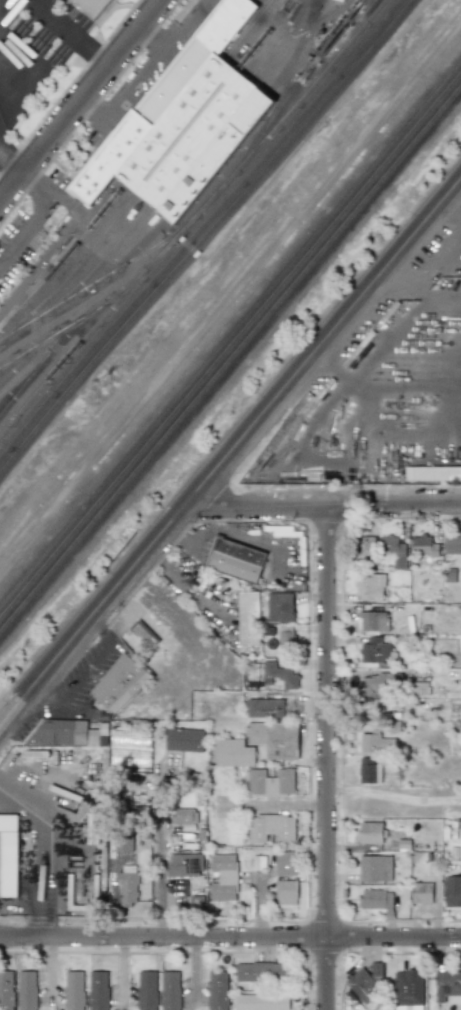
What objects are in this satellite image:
building: (341, 0)
building: (95, 6)
railway: (311, 7)
road: (8, 9)
railway: (247, 29)
railway: (263, 34)
road: (66, 35)
railway: (279, 40)
railway: (295, 49)
road: (19, 63)
railway: (294, 82)
road: (82, 102)
railway: (174, 120)
building: (182, 121)
railway: (186, 130)
railway: (199, 140)
railway: (216, 154)
road: (8, 170)
road: (451, 202)
railway: (191, 217)
road: (33, 218)
railway: (198, 227)
railway: (204, 234)
railway: (131, 250)
railway: (63, 256)
railway: (98, 263)
road: (437, 266)
railway: (73, 269)
railway: (102, 276)
road: (231, 302)
road: (401, 330)
railway: (53, 334)
railway: (63, 336)
railway: (230, 347)
railway: (28, 353)
railway: (12, 360)
railway: (230, 361)
road: (332, 367)
railway: (25, 375)
power tower: (107, 381)
road: (414, 386)
road: (229, 451)
building: (433, 473)
road: (322, 508)
building: (367, 545)
building: (425, 545)
building: (453, 545)
building: (394, 550)
building: (236, 560)
power tower: (194, 585)
building: (370, 587)
building: (218, 597)
building: (281, 606)
building: (262, 608)
building: (248, 617)
building: (367, 621)
building: (144, 634)
building: (286, 636)
building: (248, 649)
building: (375, 650)
road: (96, 660)
building: (280, 674)
building: (378, 683)
building: (119, 684)
building: (420, 689)
road: (60, 705)
building: (265, 707)
building: (384, 712)
building: (59, 732)
building: (185, 739)
building: (371, 742)
building: (259, 743)
road: (326, 759)
building: (369, 771)
building: (271, 781)
road: (274, 806)
building: (185, 816)
building: (271, 827)
building: (369, 832)
building: (123, 842)
road: (52, 850)
road: (158, 854)
building: (8, 856)
building: (287, 863)
building: (184, 865)
building: (375, 868)
building: (223, 876)
building: (127, 887)
building: (452, 890)
building: (287, 891)
building: (421, 892)
building: (380, 900)
road: (230, 936)
road: (194, 970)
building: (261, 972)
building: (365, 981)
building: (448, 987)
building: (6, 990)
building: (26, 990)
building: (74, 990)
building: (147, 990)
building: (170, 990)
building: (218, 990)
building: (408, 990)
building: (99, 991)
building: (262, 1001)

